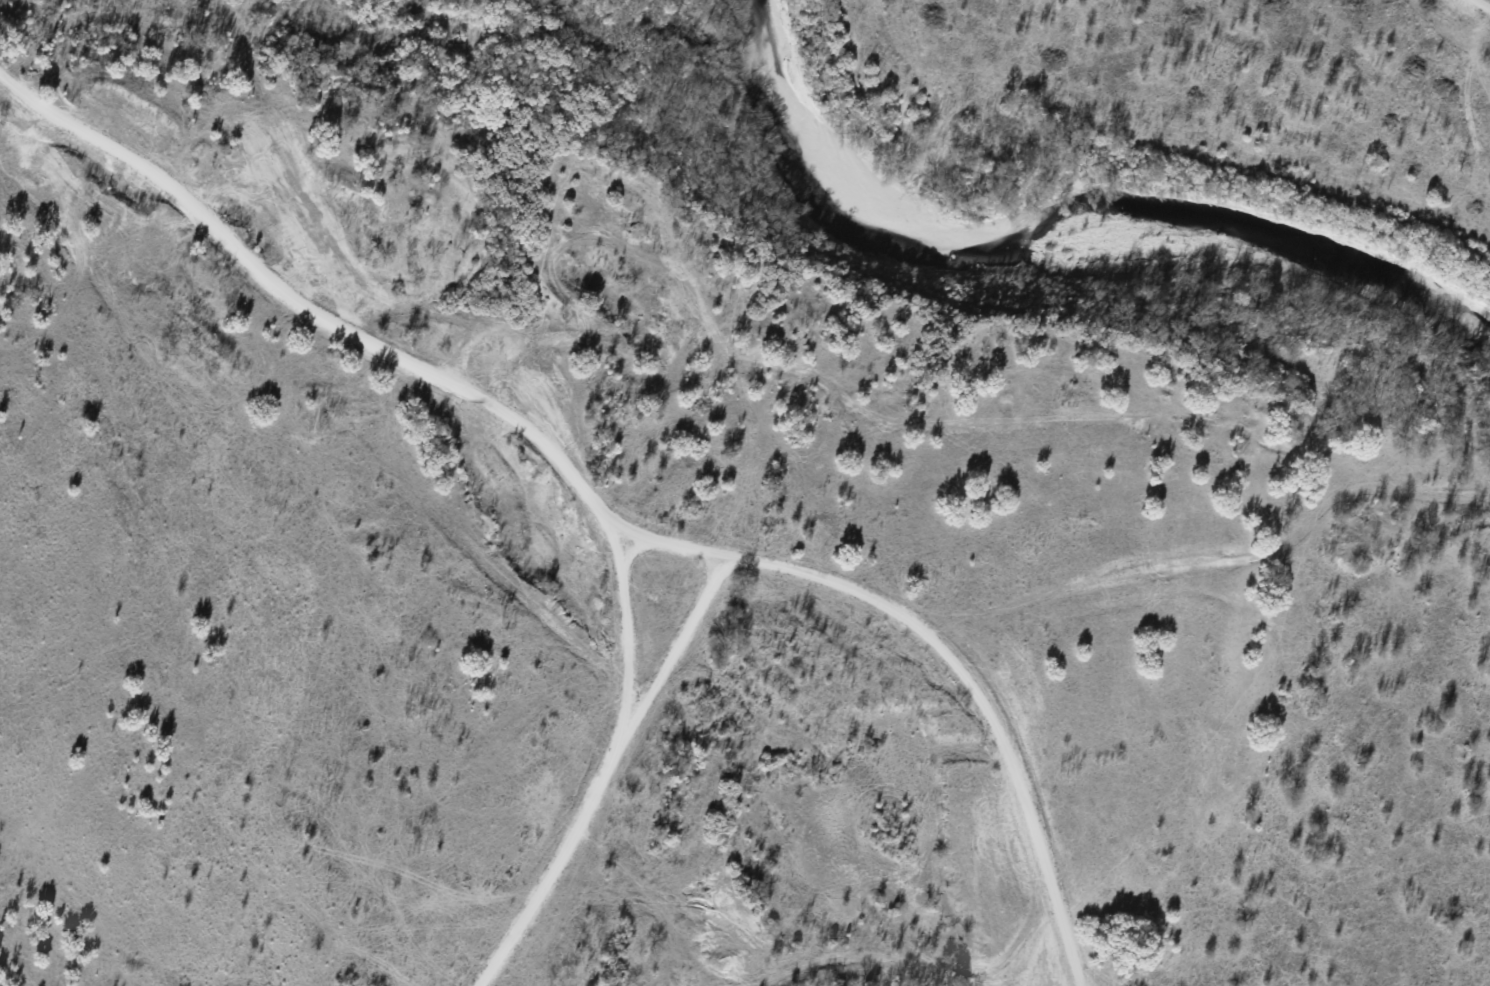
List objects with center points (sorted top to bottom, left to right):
road: (1484, 4)
river: (1055, 240)
road: (306, 310)
road: (628, 631)
road: (678, 644)
road: (954, 650)
road: (559, 863)

